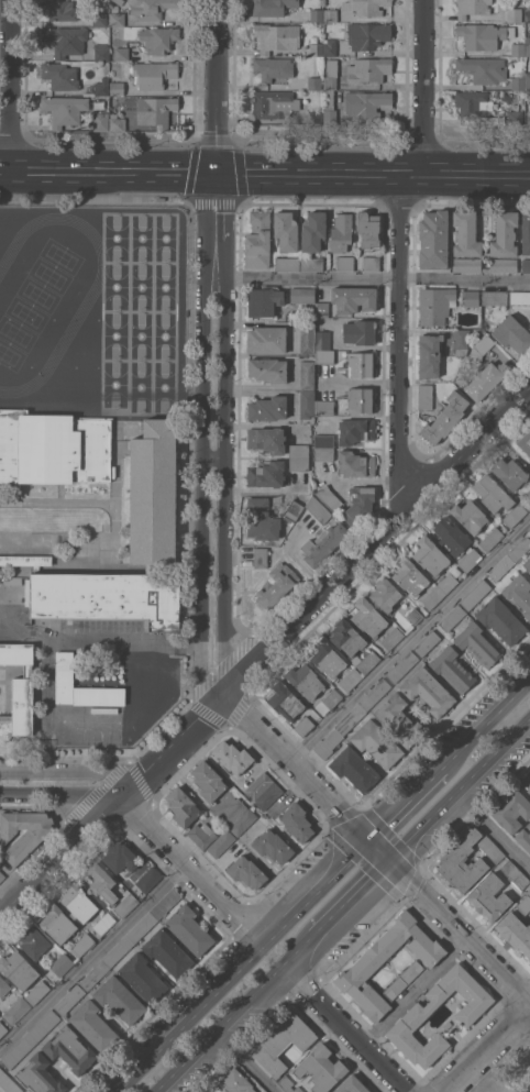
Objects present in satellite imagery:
building: (119, 1)
building: (272, 7)
building: (366, 7)
building: (475, 7)
building: (151, 8)
building: (60, 9)
building: (317, 14)
building: (514, 14)
building: (330, 15)
building: (528, 15)
building: (117, 18)
building: (99, 19)
building: (367, 34)
building: (483, 34)
building: (276, 36)
building: (66, 40)
building: (157, 40)
building: (528, 46)
building: (330, 47)
building: (517, 48)
building: (317, 49)
building: (101, 52)
building: (121, 53)
building: (273, 68)
building: (483, 68)
building: (368, 69)
building: (153, 74)
building: (331, 74)
building: (59, 75)
building: (528, 80)
building: (314, 82)
building: (518, 82)
road: (12, 85)
building: (117, 85)
road: (217, 86)
road: (422, 86)
building: (101, 87)
building: (273, 103)
building: (367, 103)
building: (473, 103)
building: (329, 108)
building: (64, 109)
building: (155, 110)
building: (316, 117)
building: (515, 117)
building: (529, 117)
building: (100, 121)
building: (117, 122)
road: (5, 168)
road: (53, 169)
road: (155, 170)
traffic signals: (217, 172)
road: (264, 172)
road: (331, 172)
road: (375, 173)
road: (410, 173)
road: (459, 174)
road: (512, 175)
building: (368, 229)
building: (285, 230)
building: (312, 231)
building: (341, 231)
building: (526, 232)
building: (465, 233)
building: (504, 233)
building: (433, 239)
building: (257, 240)
building: (311, 263)
building: (344, 263)
building: (371, 263)
building: (287, 264)
building: (467, 264)
building: (503, 265)
building: (526, 265)
road: (378, 278)
building: (302, 295)
building: (495, 297)
building: (519, 297)
building: (353, 298)
building: (471, 298)
building: (264, 301)
building: (435, 305)
building: (321, 309)
building: (529, 324)
building: (358, 331)
building: (512, 334)
building: (307, 338)
building: (266, 340)
building: (322, 340)
building: (461, 342)
building: (481, 346)
road: (398, 349)
building: (429, 355)
building: (324, 356)
building: (361, 364)
building: (268, 369)
building: (307, 374)
building: (483, 380)
building: (443, 385)
building: (424, 396)
building: (360, 399)
building: (307, 402)
building: (323, 407)
building: (267, 408)
building: (445, 417)
building: (355, 430)
road: (225, 432)
road: (199, 437)
building: (266, 439)
building: (323, 441)
building: (525, 442)
building: (53, 448)
building: (298, 451)
road: (509, 451)
building: (323, 453)
building: (355, 463)
building: (298, 464)
building: (509, 472)
building: (266, 474)
building: (492, 494)
building: (328, 497)
building: (526, 499)
building: (152, 500)
building: (358, 504)
building: (318, 509)
building: (515, 515)
building: (470, 516)
building: (267, 517)
building: (451, 536)
building: (490, 539)
building: (323, 543)
road: (377, 543)
building: (520, 549)
building: (429, 555)
building: (260, 556)
building: (470, 559)
building: (26, 560)
building: (527, 563)
building: (501, 567)
building: (409, 575)
building: (12, 580)
building: (448, 582)
building: (275, 585)
building: (519, 593)
building: (385, 594)
building: (475, 594)
building: (432, 596)
building: (415, 616)
building: (367, 617)
building: (452, 618)
building: (500, 619)
building: (391, 638)
road: (98, 640)
road: (409, 640)
building: (427, 643)
building: (477, 643)
building: (352, 644)
building: (16, 653)
building: (327, 658)
building: (402, 666)
building: (64, 669)
building: (452, 669)
building: (27, 671)
building: (351, 680)
building: (305, 681)
building: (428, 691)
building: (375, 694)
building: (285, 701)
building: (328, 701)
building: (22, 706)
road: (494, 714)
building: (5, 718)
road: (87, 718)
building: (350, 718)
building: (398, 719)
building: (303, 726)
building: (376, 742)
building: (328, 743)
road: (174, 747)
building: (232, 757)
building: (353, 768)
road: (67, 775)
building: (527, 780)
building: (208, 781)
building: (257, 786)
road: (459, 787)
building: (268, 795)
road: (412, 795)
road: (62, 797)
building: (181, 806)
building: (510, 809)
building: (232, 812)
building: (242, 821)
building: (297, 821)
building: (22, 832)
building: (201, 835)
road: (490, 835)
building: (523, 839)
traffic signals: (368, 840)
building: (221, 843)
building: (273, 846)
building: (490, 848)
road: (377, 849)
building: (120, 857)
road: (62, 859)
traffic signals: (388, 860)
building: (462, 862)
building: (246, 871)
road: (191, 872)
building: (515, 873)
building: (1, 875)
building: (148, 879)
building: (101, 882)
road: (313, 893)
road: (351, 896)
building: (488, 897)
building: (78, 903)
building: (124, 903)
building: (165, 903)
building: (525, 903)
building: (57, 923)
building: (103, 923)
building: (142, 927)
building: (189, 929)
building: (515, 931)
building: (34, 941)
building: (82, 945)
road: (297, 949)
building: (118, 950)
building: (167, 952)
road: (93, 959)
building: (529, 960)
building: (62, 963)
building: (364, 966)
building: (18, 969)
building: (95, 974)
building: (142, 977)
building: (402, 979)
building: (3, 986)
building: (37, 991)
road: (413, 992)
building: (69, 999)
building: (120, 999)
building: (16, 1010)
building: (413, 1017)
road: (187, 1019)
building: (93, 1025)
building: (2, 1028)
road: (218, 1028)
road: (345, 1028)
building: (31, 1038)
building: (281, 1040)
road: (489, 1048)
building: (70, 1049)
road: (244, 1061)
park: (503, 1062)
building: (321, 1068)
building: (40, 1074)
building: (236, 1081)
building: (8, 1082)
building: (288, 1084)
building: (351, 1085)
building: (207, 1091)

